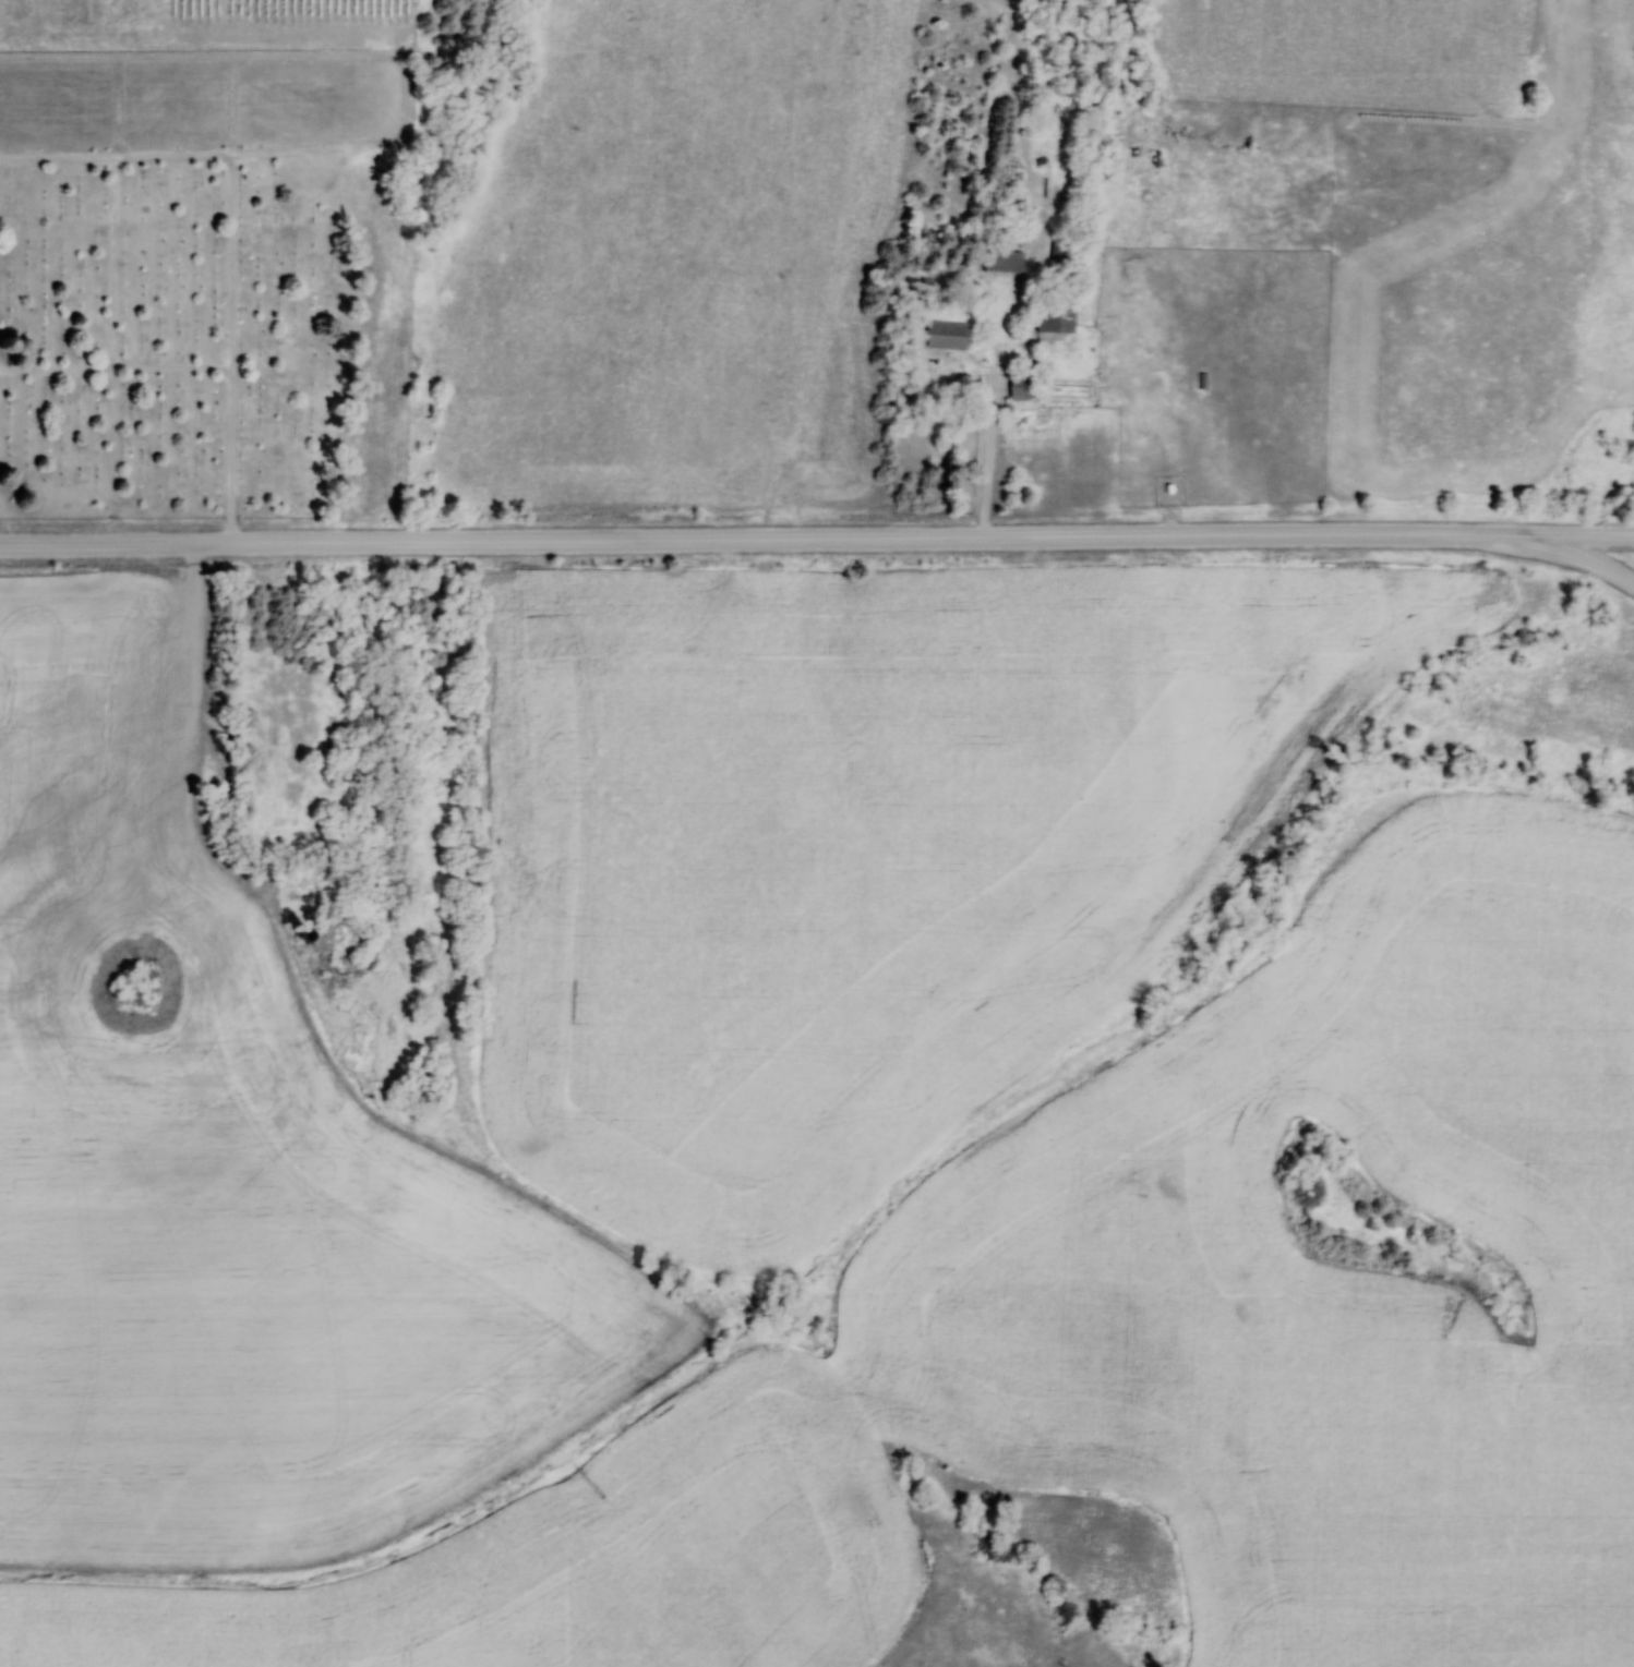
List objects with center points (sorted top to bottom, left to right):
building: (1004, 262)
park: (216, 288)
building: (1056, 317)
building: (946, 336)
building: (1019, 388)
road: (989, 460)
road: (1558, 533)
road: (741, 537)
road: (1560, 547)
building: (317, 967)

